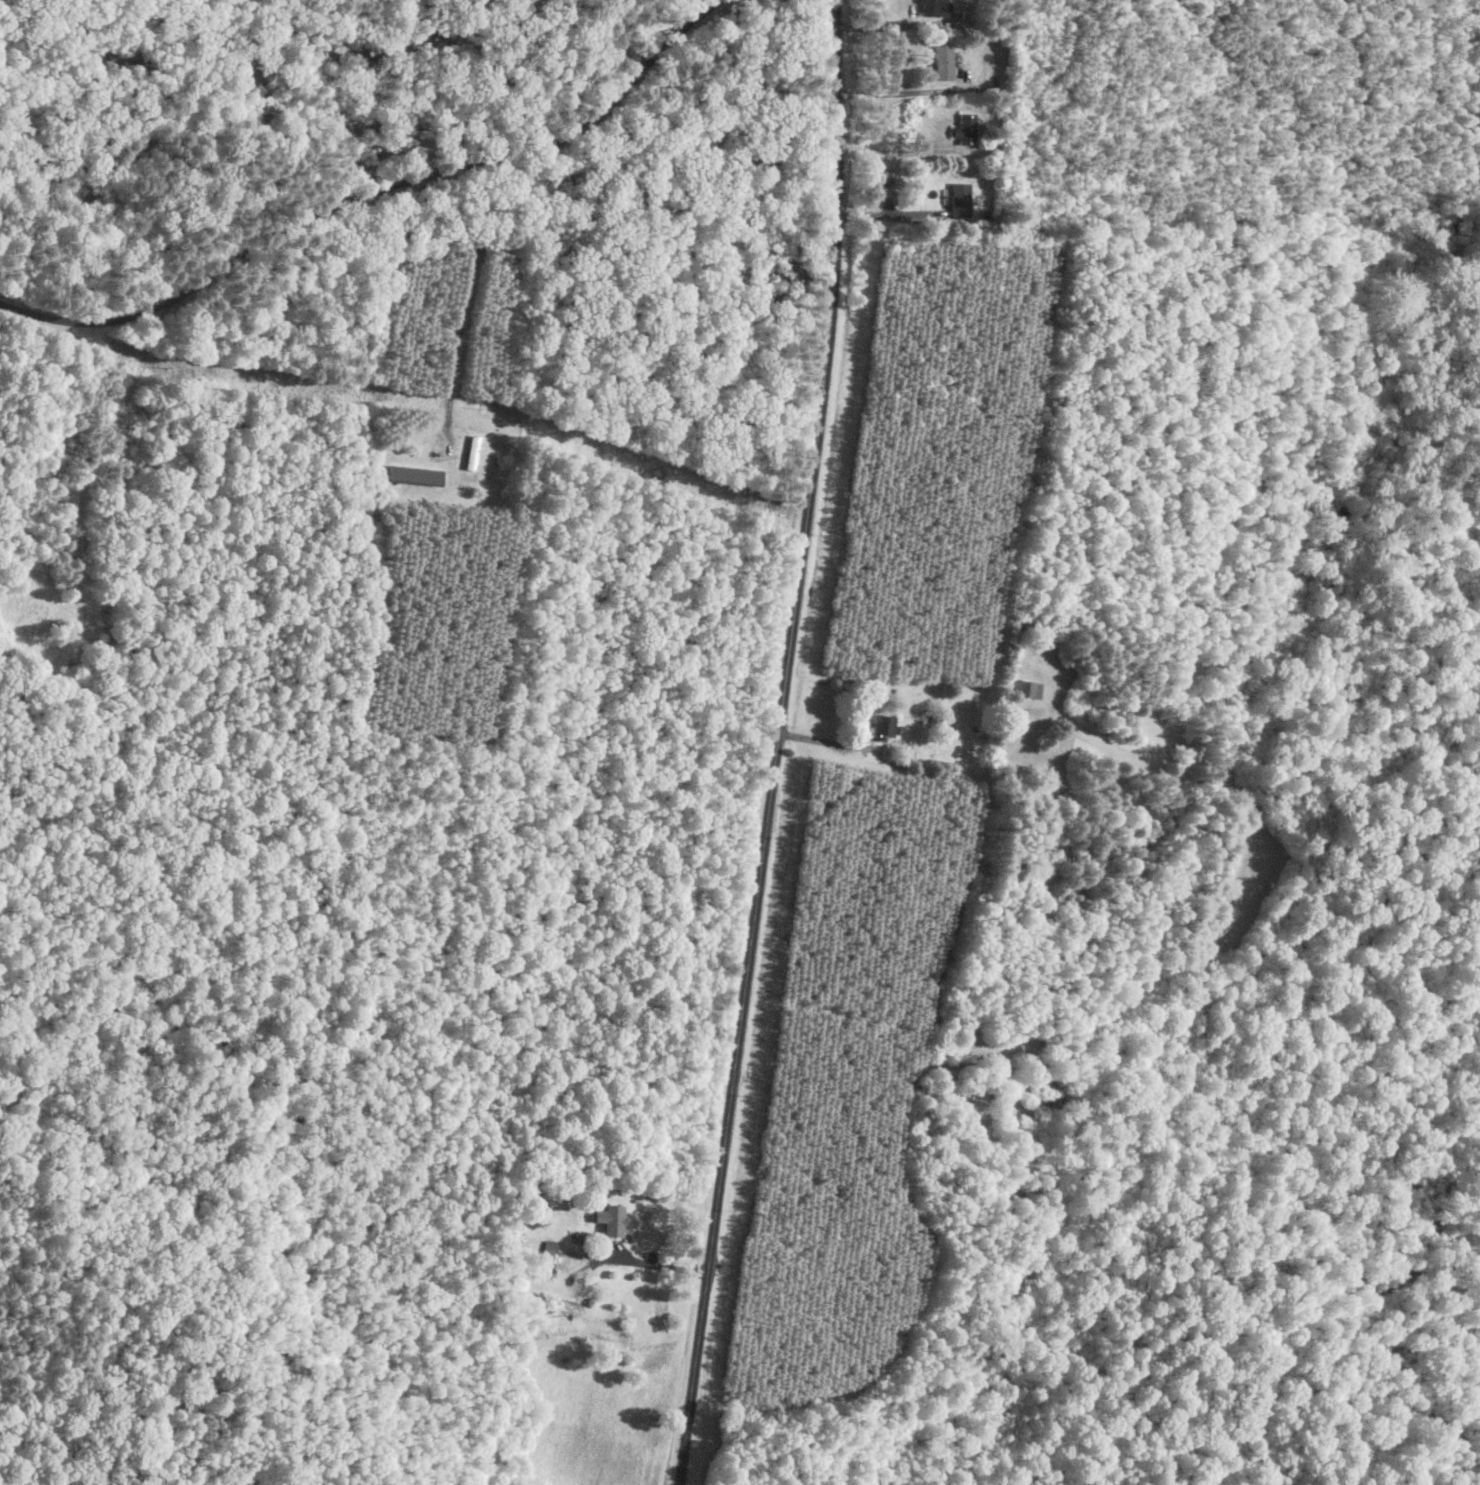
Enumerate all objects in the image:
building: (927, 7)
building: (940, 62)
road: (903, 92)
building: (963, 128)
road: (373, 191)
building: (958, 199)
road: (889, 212)
road: (471, 260)
building: (411, 473)
road: (777, 743)
road: (870, 748)
road: (659, 1265)

